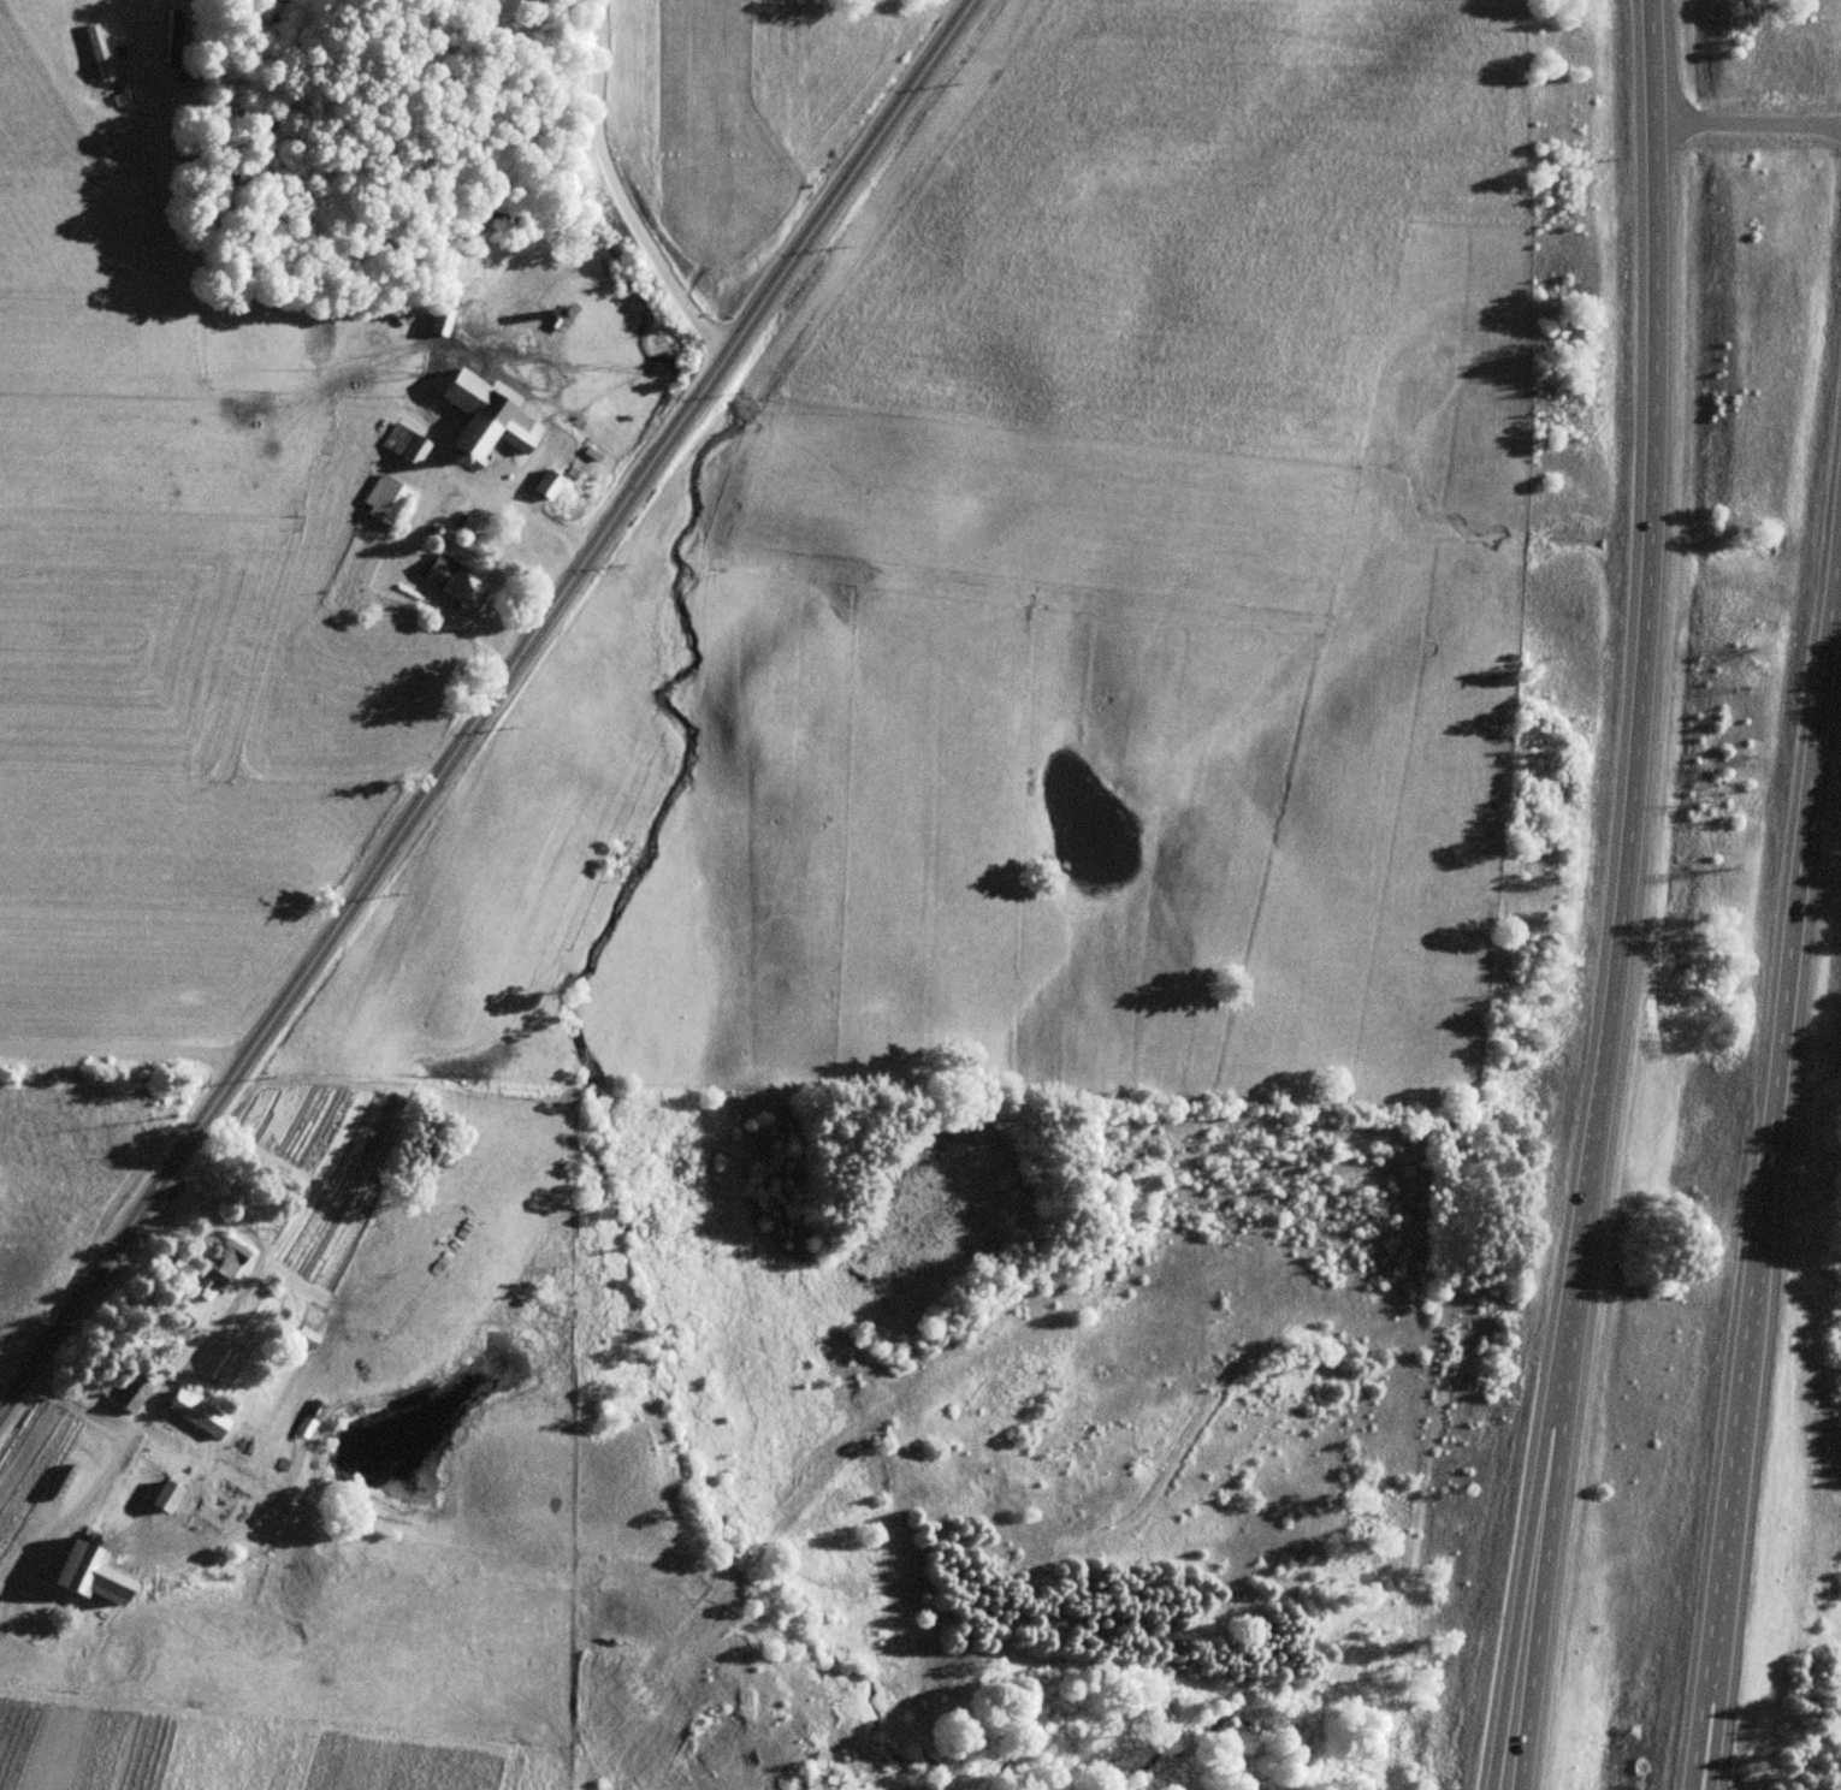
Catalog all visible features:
building: (176, 37)
building: (97, 53)
airport runway: (706, 78)
road: (1760, 136)
road: (615, 194)
building: (438, 320)
building: (486, 417)
building: (404, 444)
building: (546, 482)
building: (384, 498)
road: (526, 514)
building: (454, 580)
road: (1642, 677)
road: (490, 703)
road: (118, 1053)
road: (1770, 1115)
building: (407, 1211)
building: (217, 1270)
building: (306, 1339)
building: (132, 1392)
building: (199, 1416)
building: (309, 1419)
building: (165, 1496)
road: (1522, 1571)
road: (1544, 1572)
building: (91, 1576)
road: (1694, 1737)
road: (1704, 1737)

